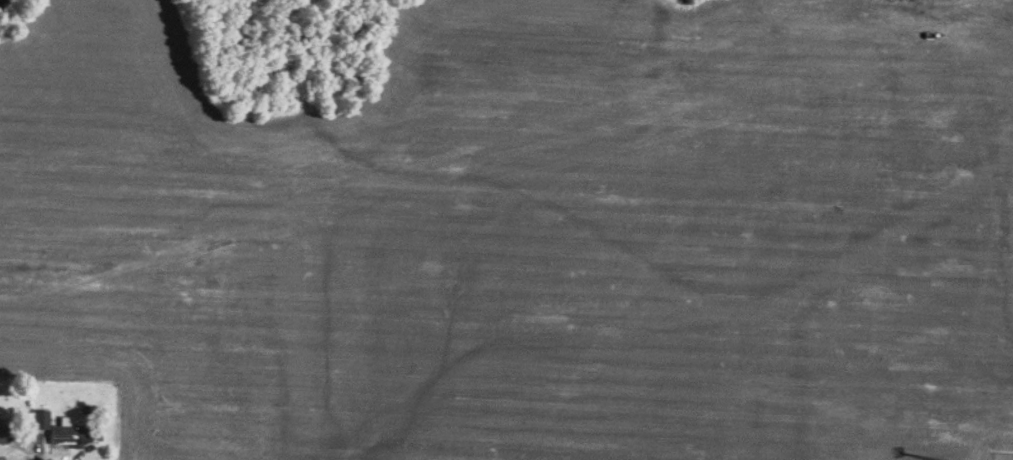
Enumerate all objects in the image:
building: (65, 427)
building: (2, 428)

